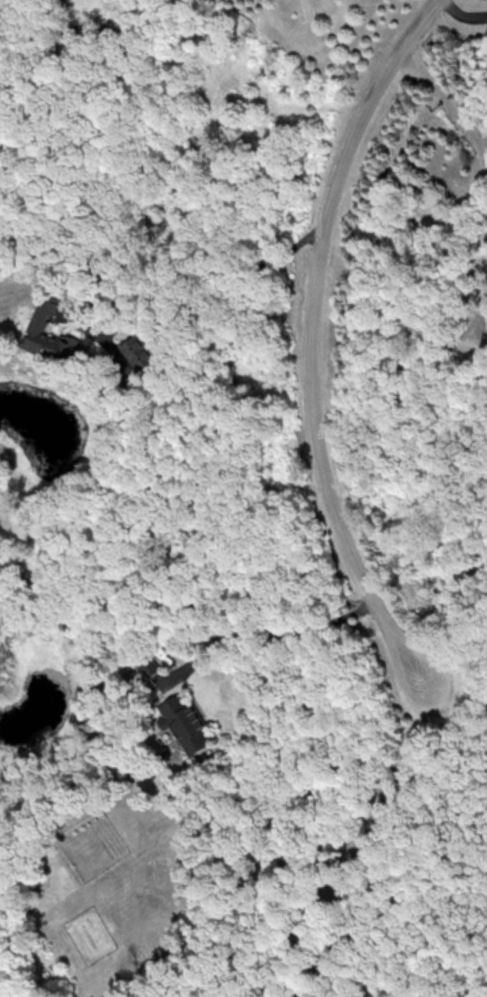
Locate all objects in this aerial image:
road: (463, 13)
road: (445, 98)
road: (215, 273)
building: (43, 314)
building: (138, 352)
road: (308, 356)
road: (275, 632)
road: (451, 654)
building: (147, 668)
building: (186, 723)

